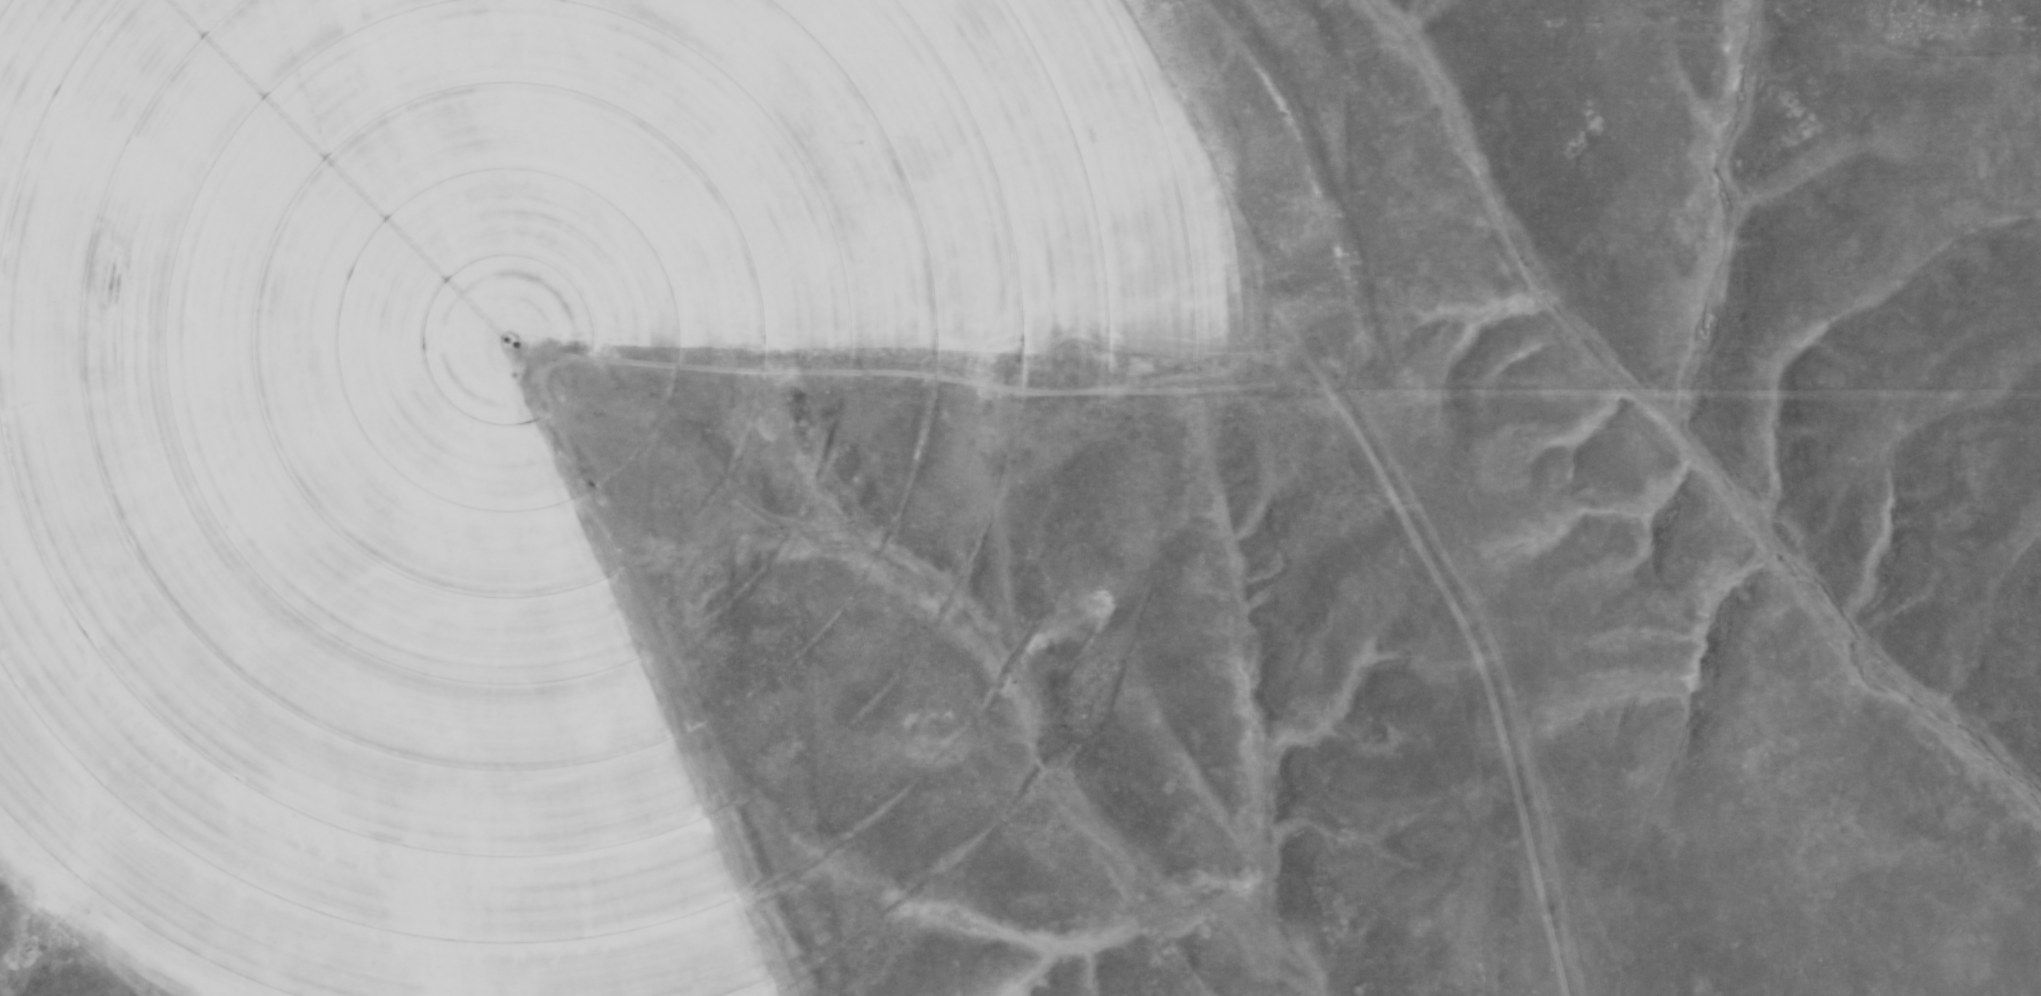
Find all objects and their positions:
crop: (477, 425)

